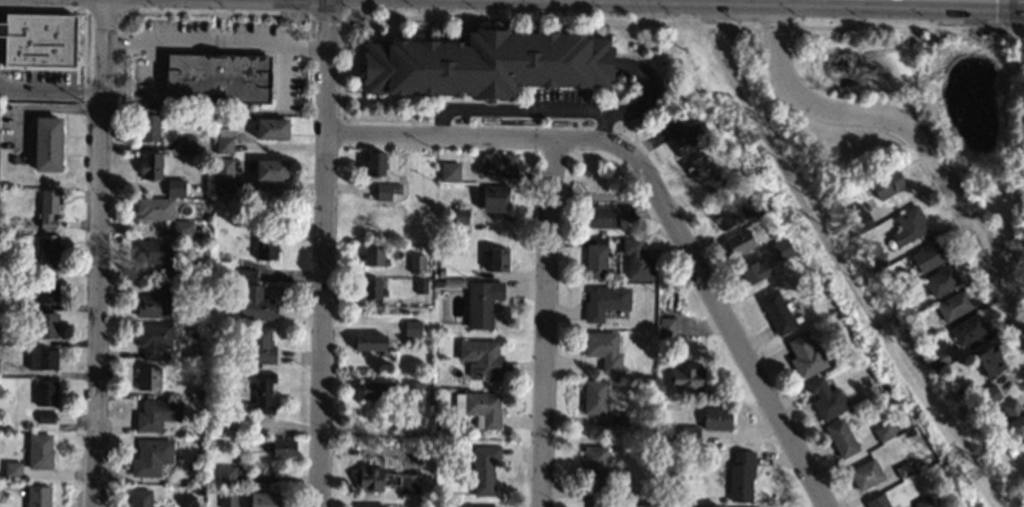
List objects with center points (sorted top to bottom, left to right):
road: (1021, 9)
road: (42, 10)
road: (736, 11)
road: (103, 12)
road: (216, 14)
road: (329, 16)
road: (1003, 16)
traffic signals: (1021, 19)
building: (281, 21)
road: (554, 21)
traffic signals: (327, 23)
road: (775, 26)
road: (905, 30)
building: (981, 35)
building: (39, 40)
road: (215, 43)
building: (485, 64)
building: (217, 78)
road: (525, 107)
road: (46, 109)
building: (148, 128)
building: (272, 129)
road: (914, 136)
road: (483, 137)
building: (687, 137)
building: (223, 141)
building: (47, 144)
building: (186, 144)
building: (203, 148)
power tower: (760, 154)
building: (13, 159)
building: (375, 164)
building: (499, 165)
building: (150, 166)
building: (698, 166)
building: (271, 170)
building: (450, 172)
building: (223, 174)
building: (715, 183)
building: (887, 184)
building: (176, 188)
building: (387, 191)
building: (745, 193)
building: (494, 198)
building: (49, 208)
building: (154, 209)
building: (762, 209)
building: (729, 212)
building: (626, 213)
building: (460, 216)
building: (601, 217)
building: (860, 218)
building: (1, 224)
building: (909, 225)
building: (183, 228)
building: (609, 240)
building: (615, 240)
building: (740, 242)
building: (266, 247)
building: (781, 250)
building: (154, 251)
building: (48, 253)
road: (99, 253)
road: (323, 253)
building: (374, 256)
building: (876, 257)
building: (928, 257)
building: (498, 259)
building: (595, 259)
building: (637, 260)
building: (416, 264)
building: (168, 271)
building: (441, 272)
building: (755, 272)
building: (248, 275)
building: (941, 281)
building: (452, 283)
building: (820, 285)
building: (421, 286)
building: (373, 289)
building: (44, 291)
building: (604, 302)
building: (21, 303)
building: (157, 303)
building: (482, 303)
building: (256, 305)
building: (954, 305)
building: (776, 312)
building: (839, 315)
building: (901, 316)
road: (554, 323)
building: (905, 323)
building: (46, 326)
building: (666, 327)
building: (413, 328)
building: (968, 330)
road: (733, 332)
building: (153, 339)
building: (371, 343)
building: (260, 345)
building: (604, 350)
building: (805, 356)
building: (40, 357)
building: (482, 359)
building: (938, 359)
building: (990, 361)
building: (149, 378)
building: (688, 379)
building: (376, 389)
building: (413, 391)
building: (44, 393)
building: (262, 393)
building: (991, 393)
building: (197, 394)
building: (594, 397)
building: (826, 399)
building: (986, 401)
building: (479, 408)
building: (156, 414)
building: (46, 417)
building: (622, 418)
building: (717, 418)
building: (1012, 421)
building: (883, 432)
building: (690, 436)
building: (841, 438)
building: (281, 448)
building: (39, 451)
building: (151, 457)
building: (484, 468)
building: (905, 469)
building: (13, 470)
building: (593, 472)
building: (227, 474)
building: (865, 474)
building: (741, 476)
building: (387, 480)
building: (953, 488)
power tower: (971, 493)
building: (38, 496)
building: (140, 498)
building: (264, 499)
building: (228, 500)
building: (877, 501)
building: (923, 502)
building: (368, 505)
building: (598, 505)
building: (469, 506)

